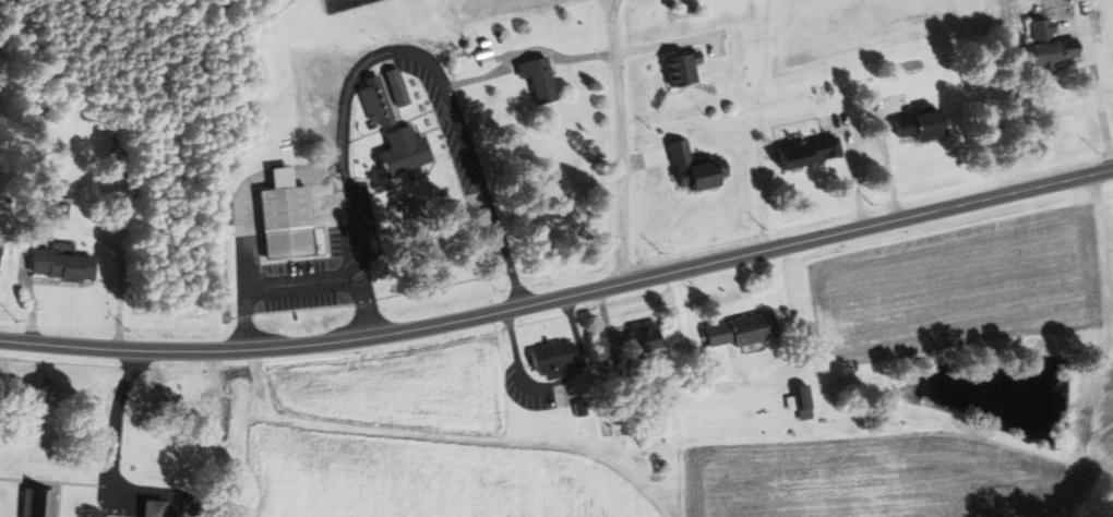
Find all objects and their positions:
park: (345, 4)
road: (661, 44)
building: (1054, 46)
road: (415, 57)
building: (686, 70)
building: (542, 79)
building: (398, 87)
road: (1097, 95)
building: (925, 123)
building: (395, 132)
road: (614, 141)
building: (812, 153)
building: (699, 170)
road: (889, 171)
road: (853, 179)
building: (289, 219)
building: (1, 257)
building: (67, 265)
road: (302, 282)
road: (561, 297)
building: (746, 330)
building: (650, 339)
road: (749, 360)
building: (556, 361)
building: (805, 402)
road: (111, 466)
building: (41, 502)
building: (157, 507)

